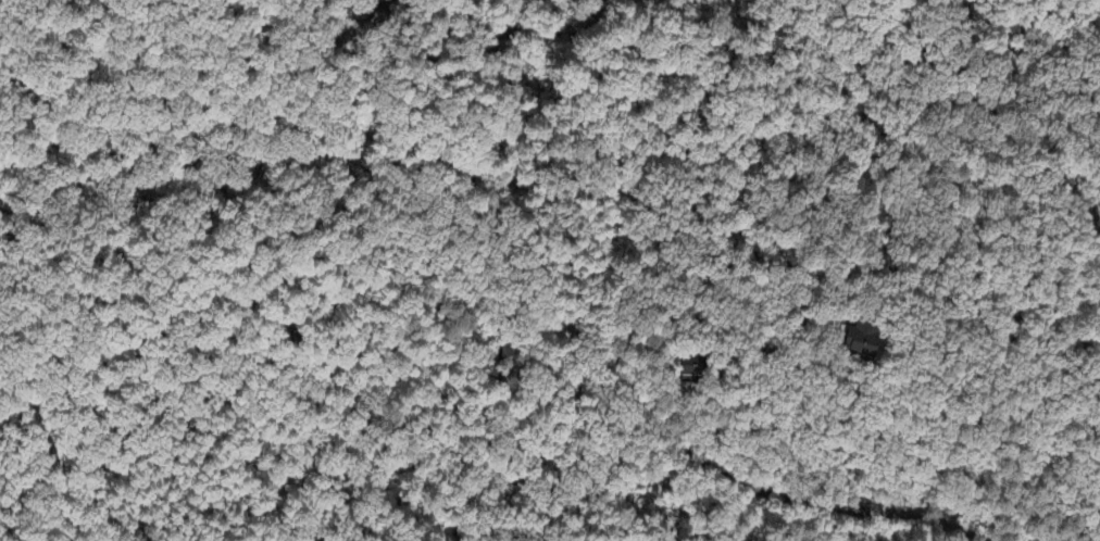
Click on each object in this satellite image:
road: (795, 309)
road: (757, 334)
building: (865, 340)
road: (595, 364)

